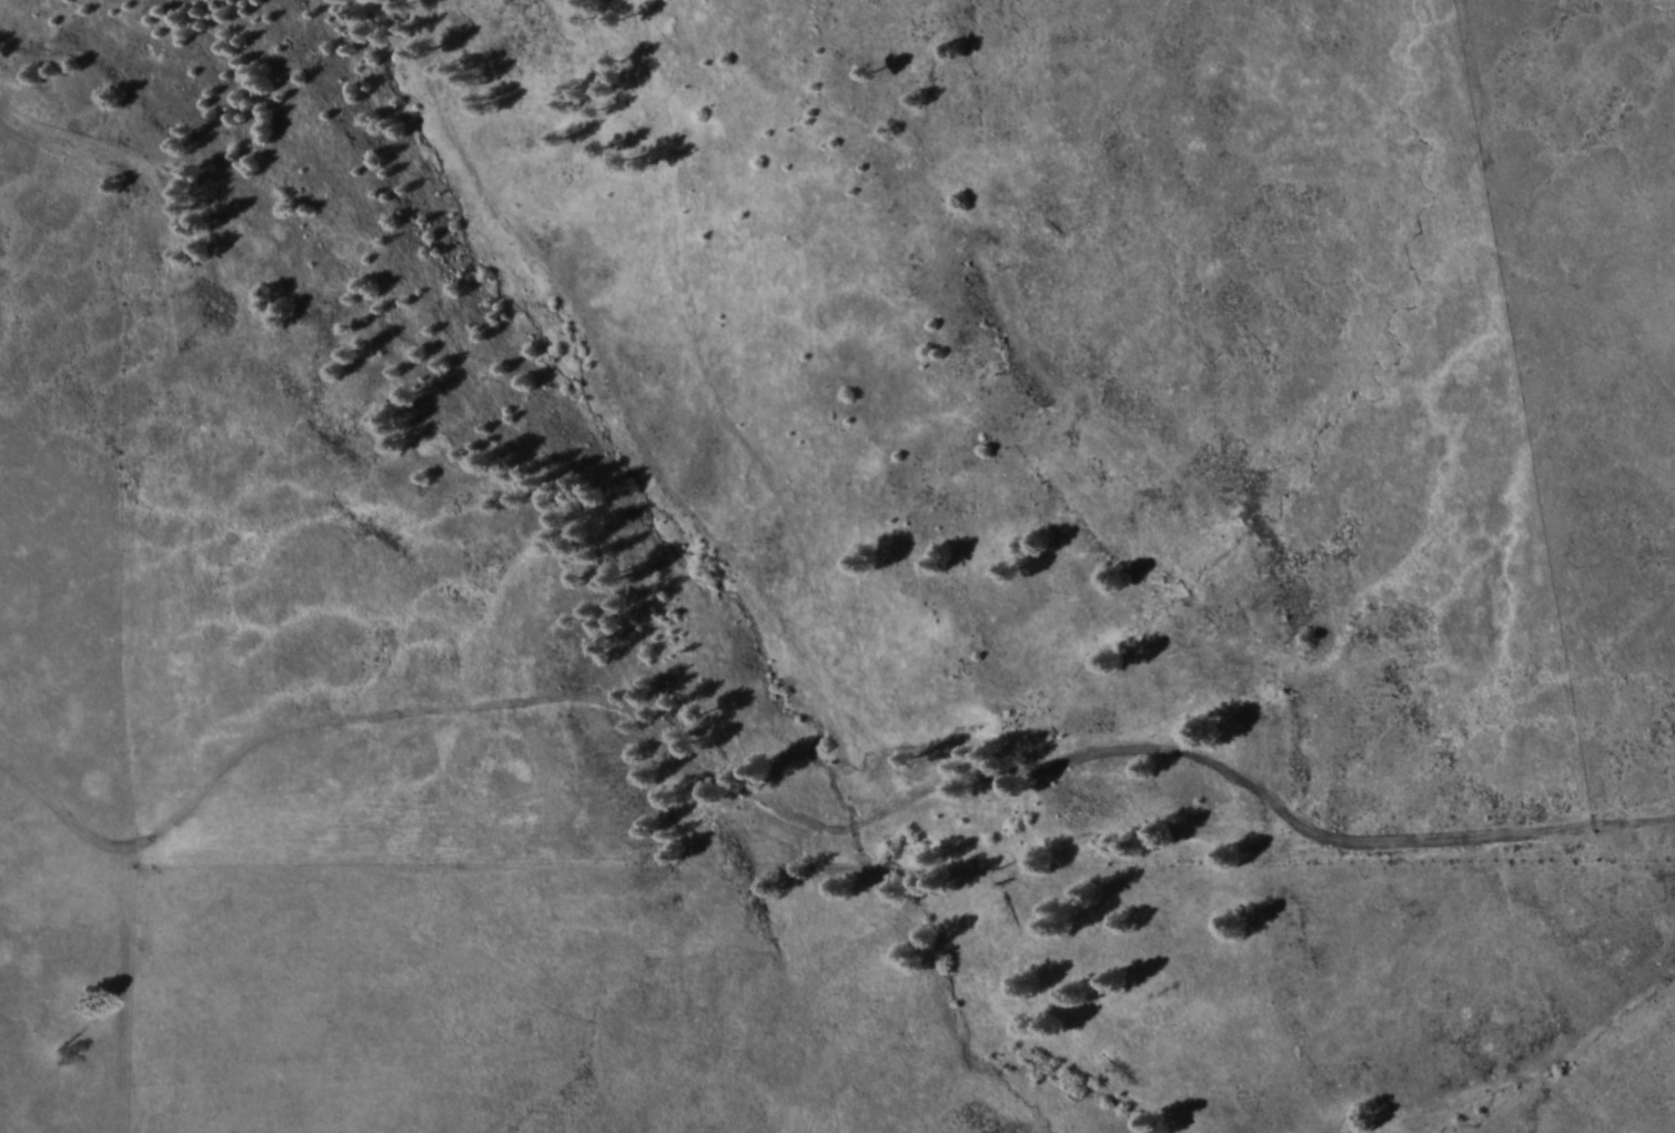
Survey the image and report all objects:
road: (705, 972)

